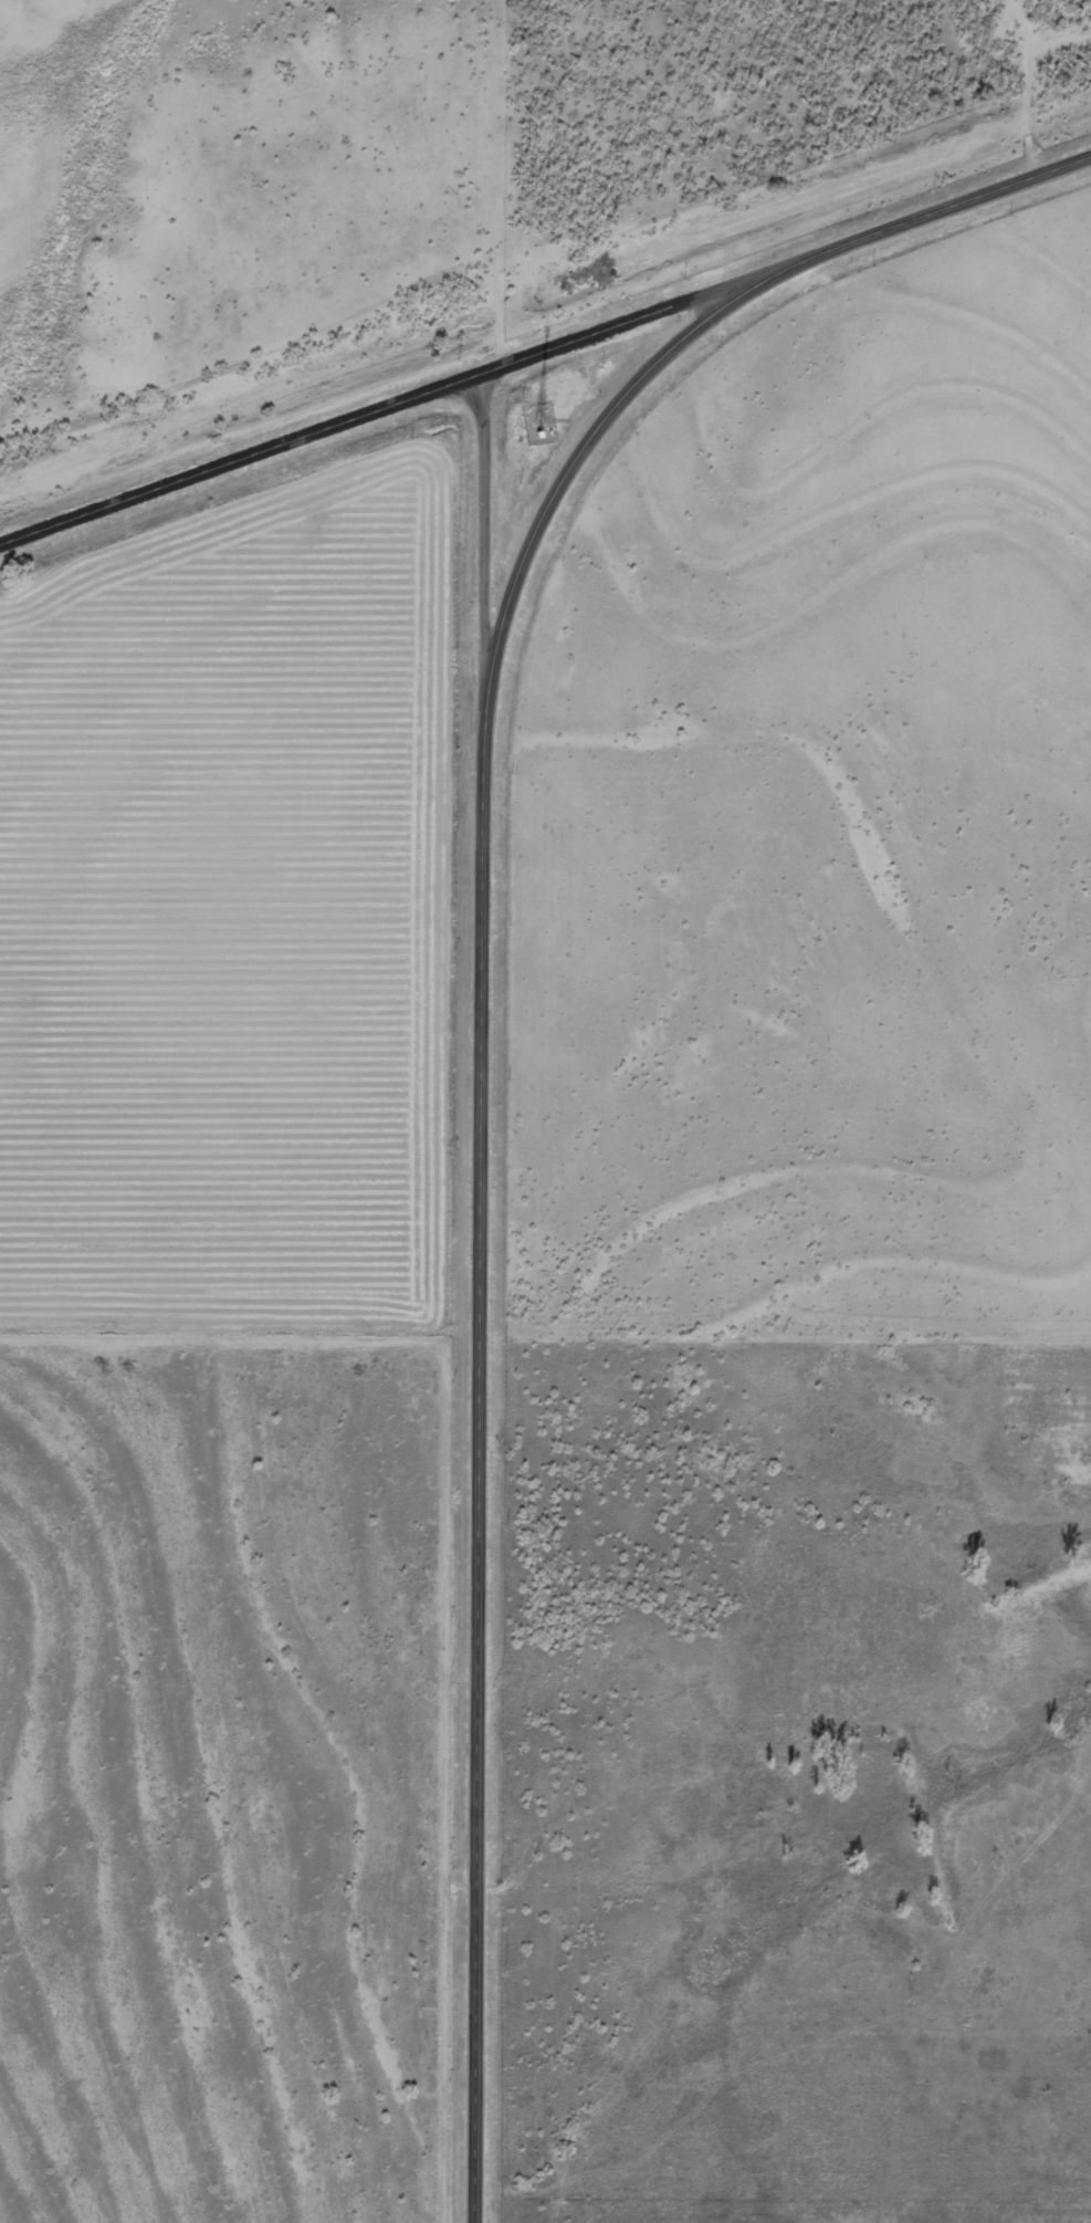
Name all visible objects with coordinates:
road: (924, 220)
railway: (545, 290)
road: (378, 410)
road: (475, 529)
road: (482, 1200)

